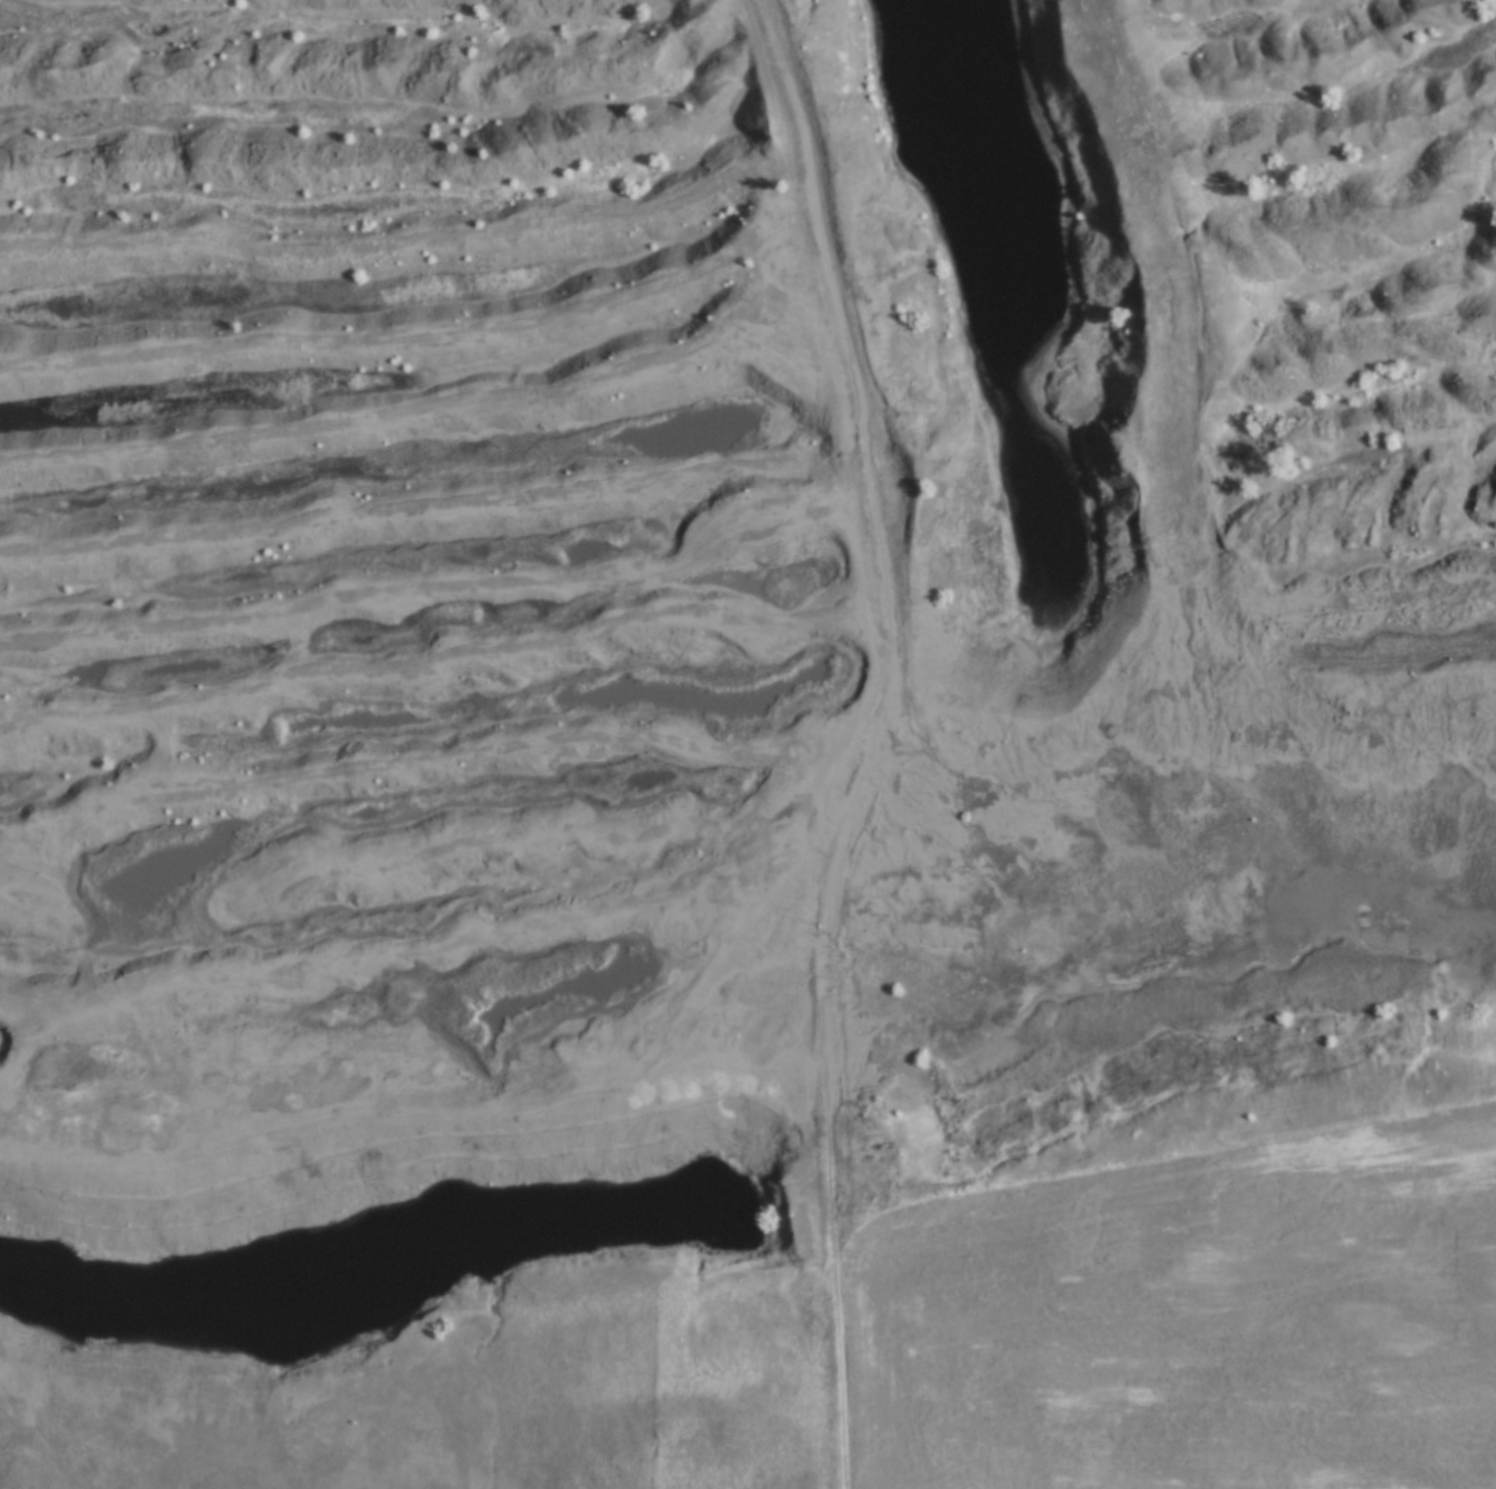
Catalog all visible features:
quarry: (686, 608)
road: (884, 741)

